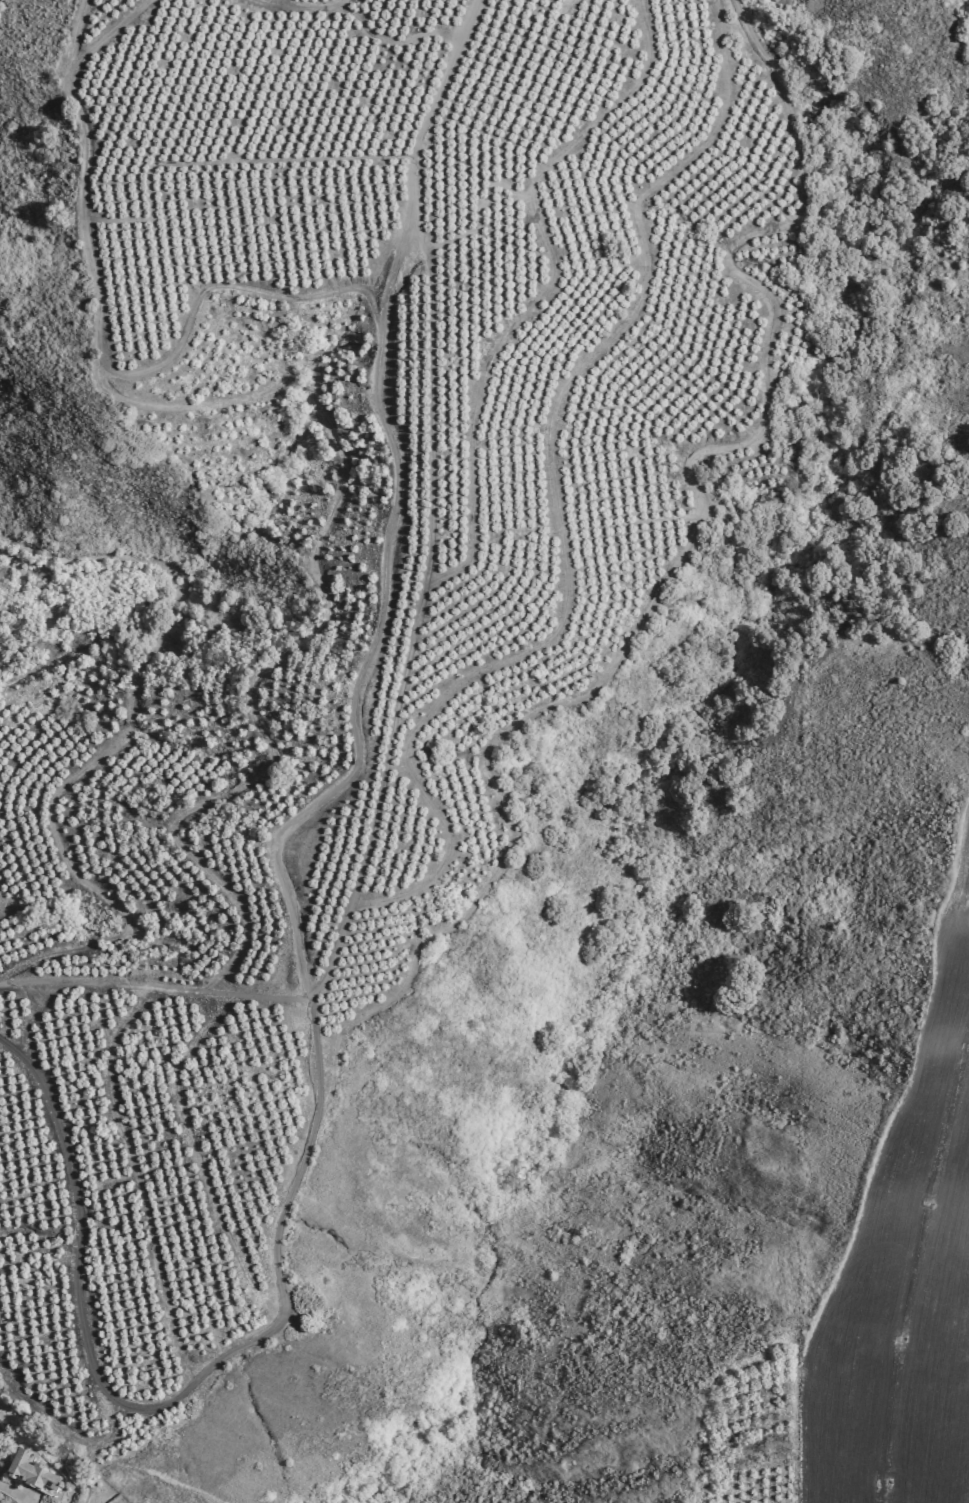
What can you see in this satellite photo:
road: (960, 851)
road: (917, 1267)
crop: (902, 1274)
road: (177, 1396)
building: (29, 1471)
road: (15, 1493)

